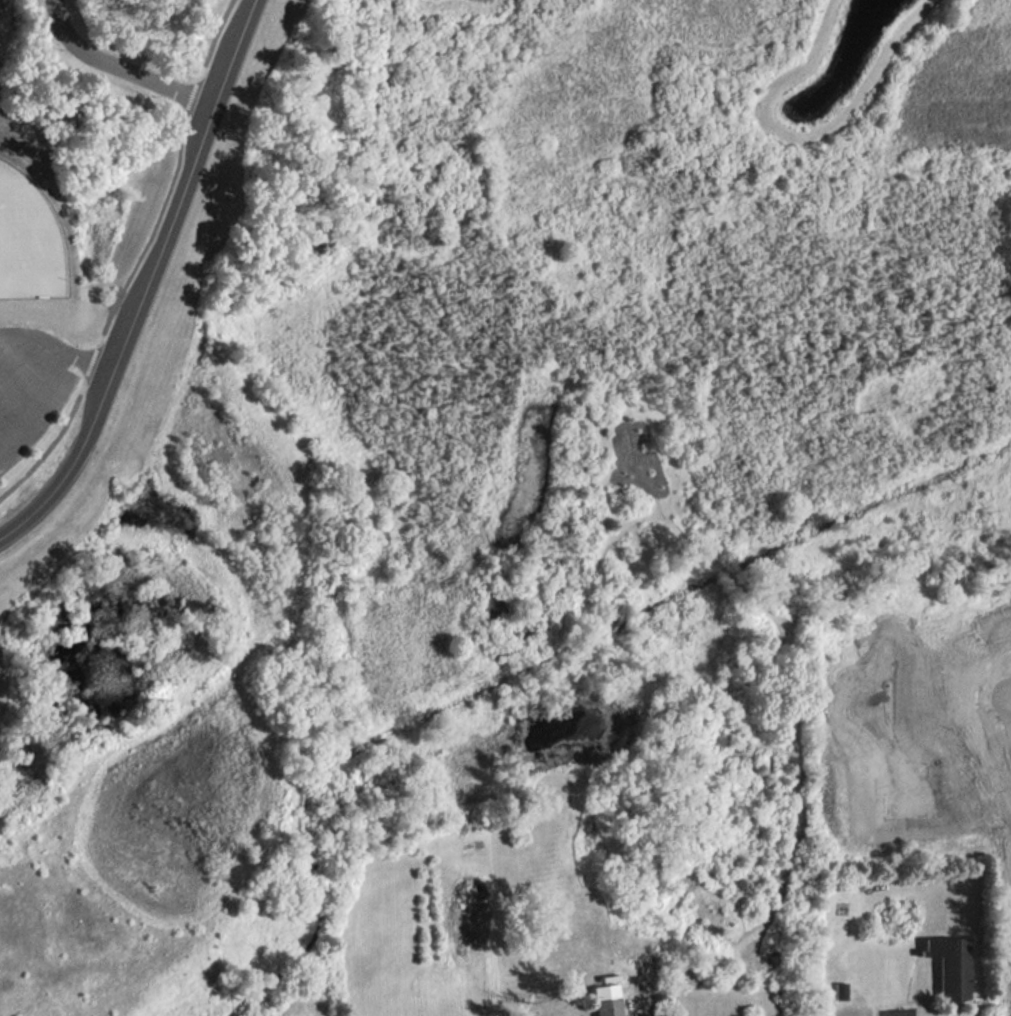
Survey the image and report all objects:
road: (211, 35)
road: (123, 60)
road: (190, 87)
road: (147, 223)
park: (27, 231)
road: (143, 275)
road: (33, 327)
road: (16, 352)
road: (86, 352)
road: (87, 352)
parking lot: (28, 376)
road: (36, 391)
road: (50, 432)
building: (952, 957)
building: (611, 968)
building: (839, 988)
building: (607, 996)
road: (920, 1001)
road: (955, 1004)
parking lot: (900, 1007)
crop: (310, 1015)

